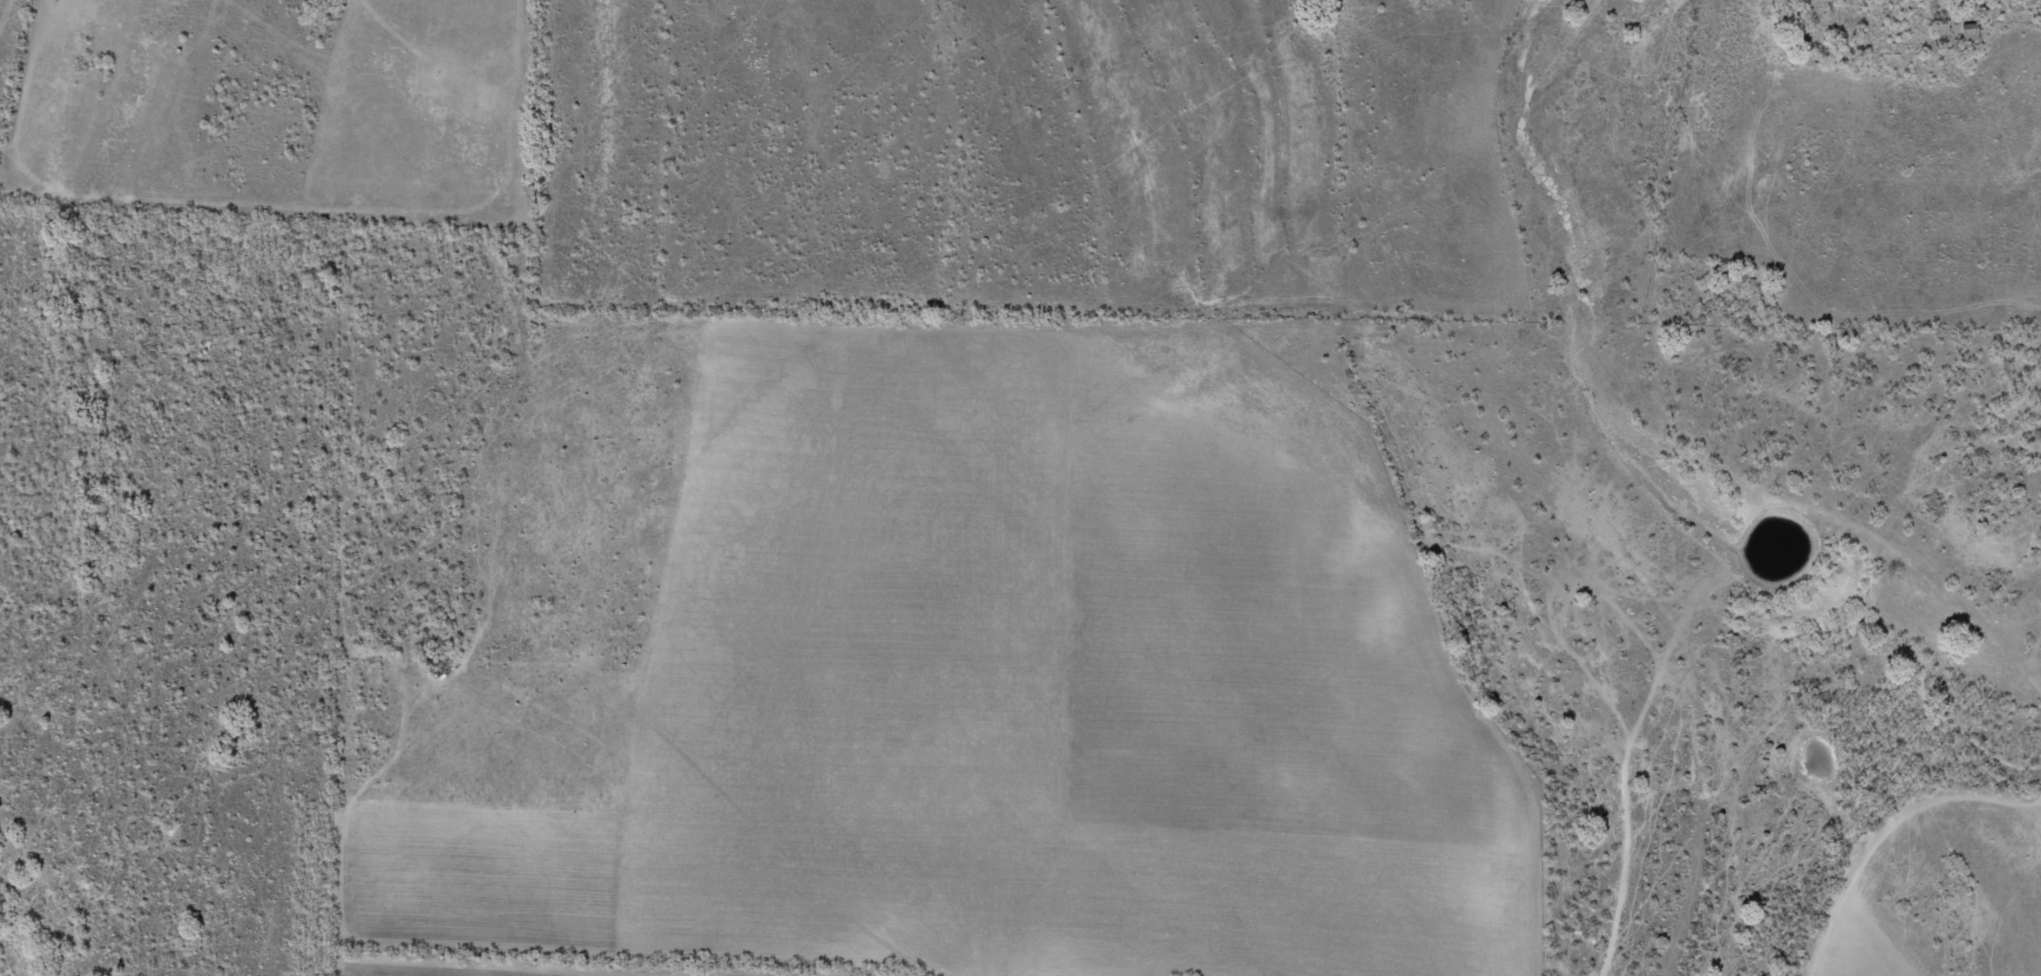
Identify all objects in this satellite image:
building: (1972, 32)

